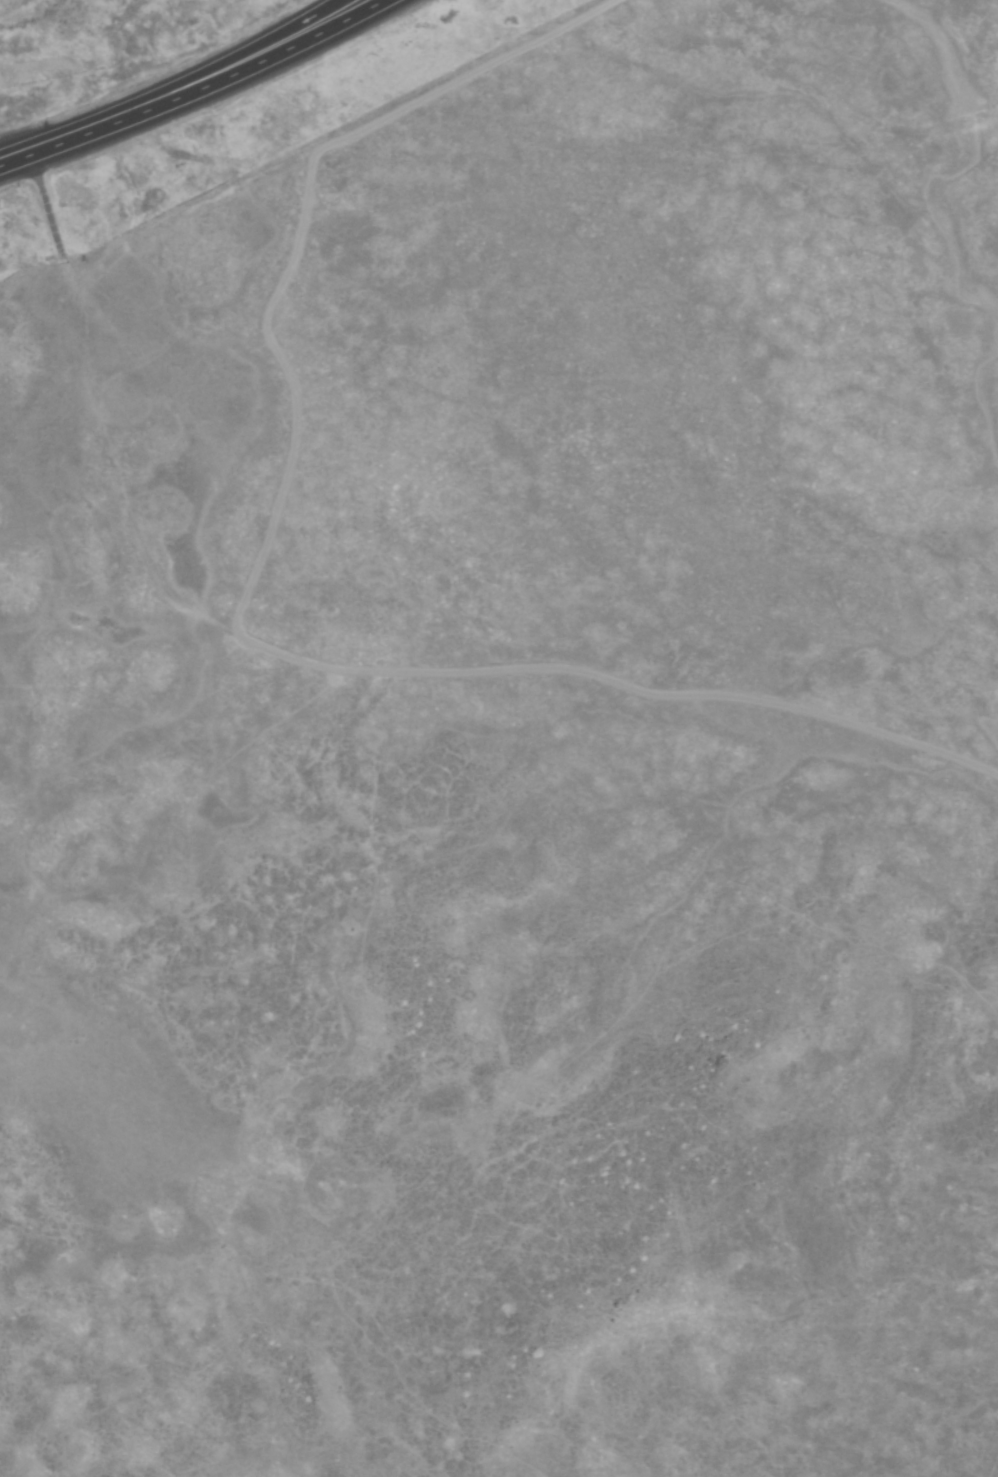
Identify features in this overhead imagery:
road: (316, 23)
road: (340, 26)
road: (142, 110)

